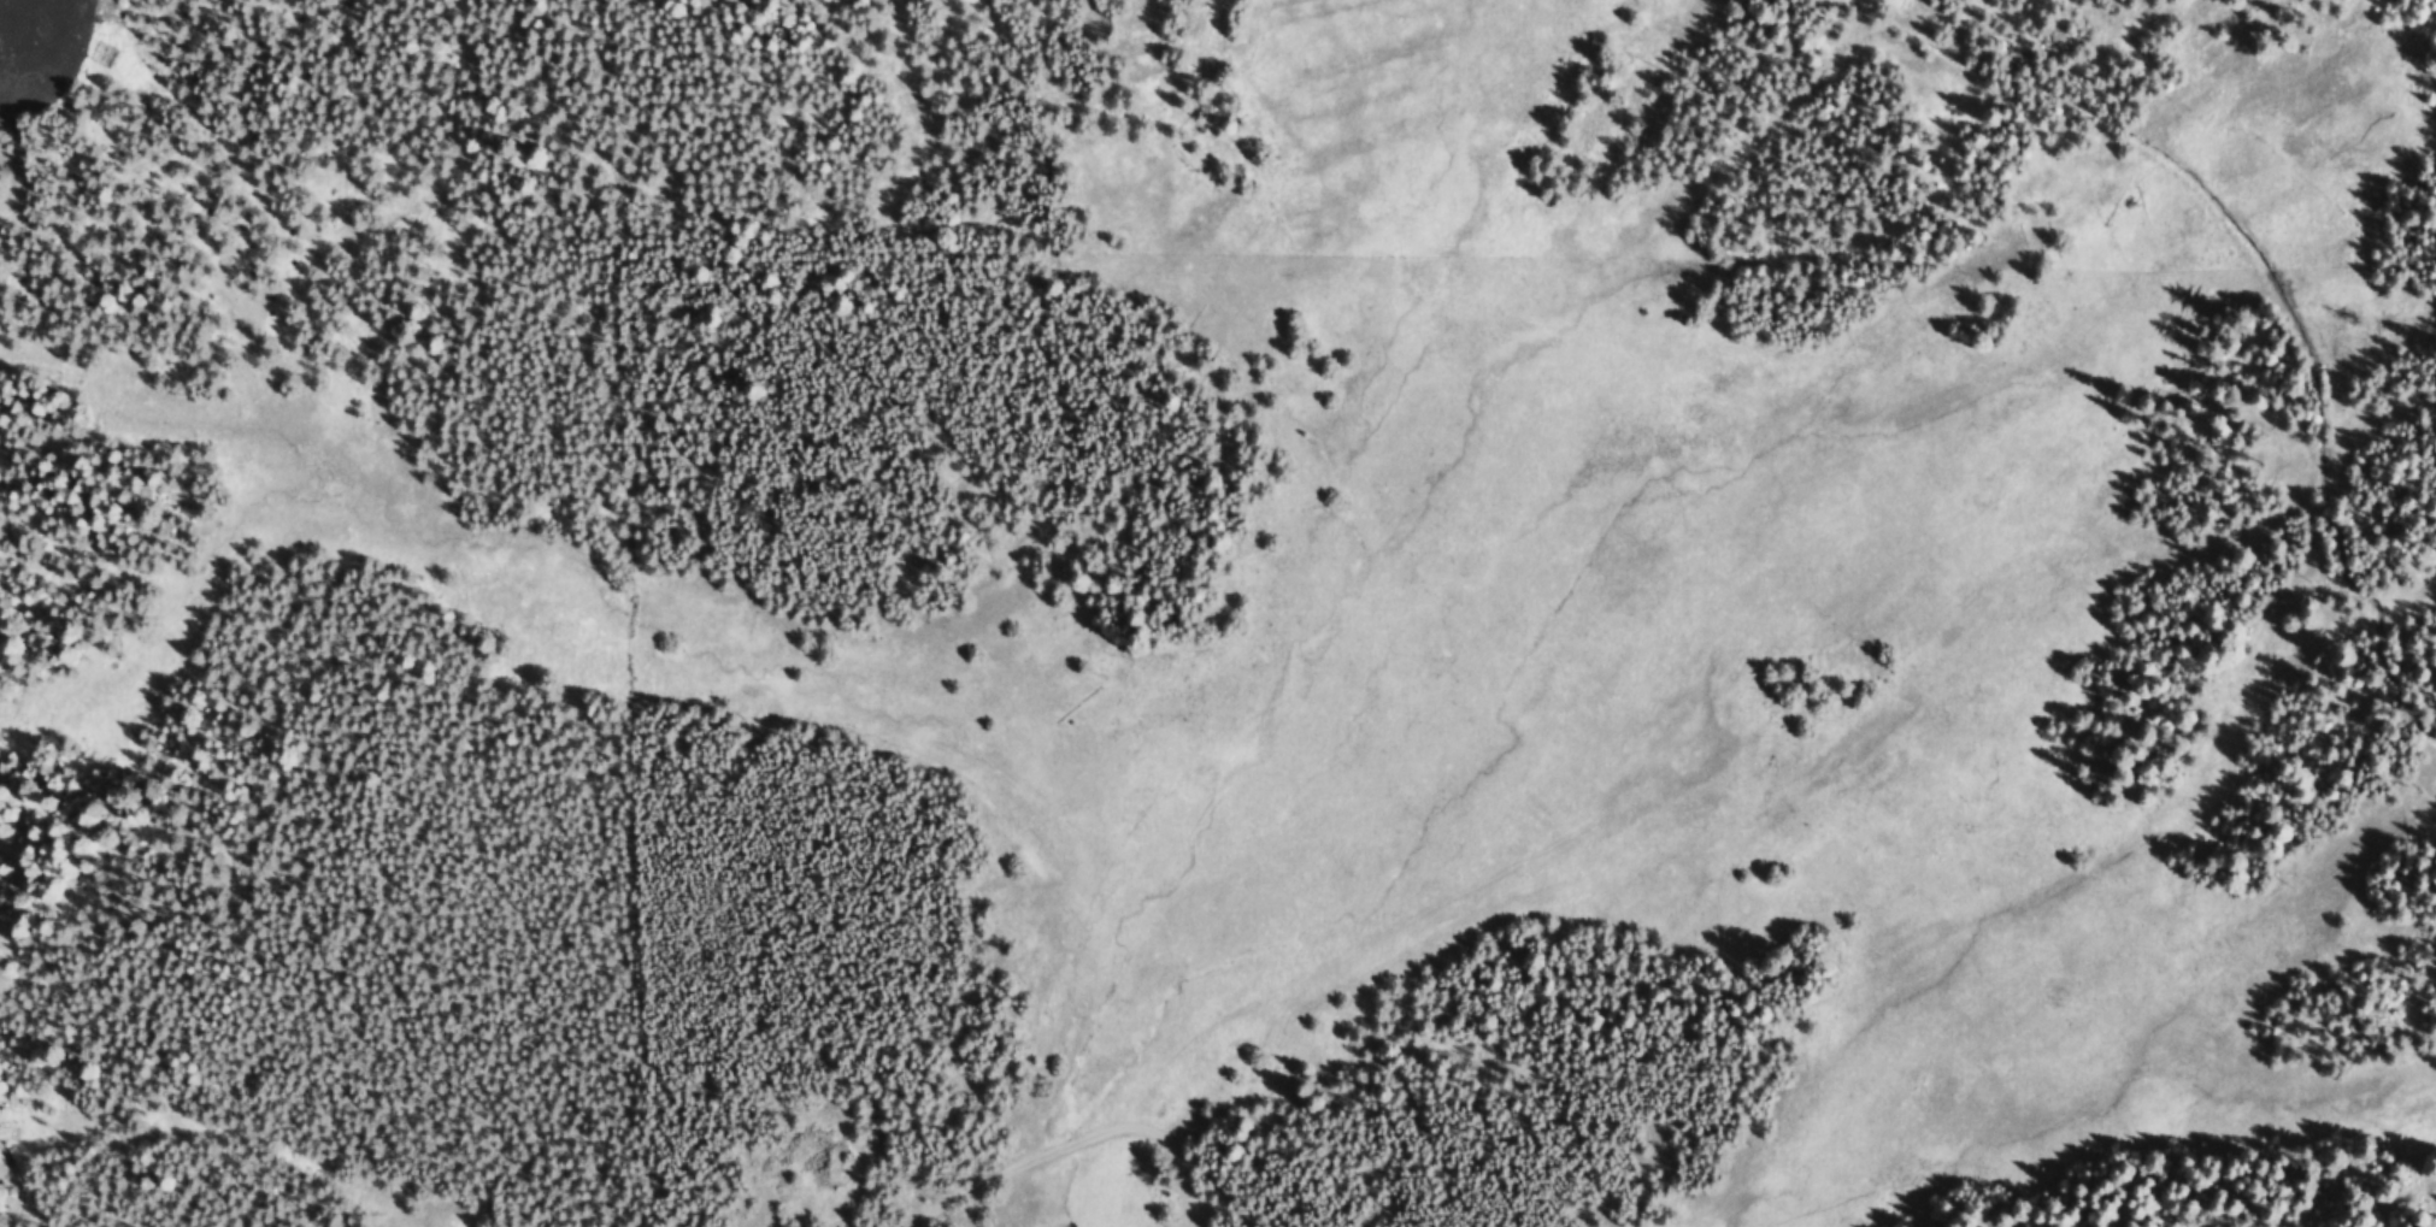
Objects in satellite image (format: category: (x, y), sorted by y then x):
road: (0, 0)
road: (2422, 16)
parking lot: (41, 49)
road: (1077, 1150)

